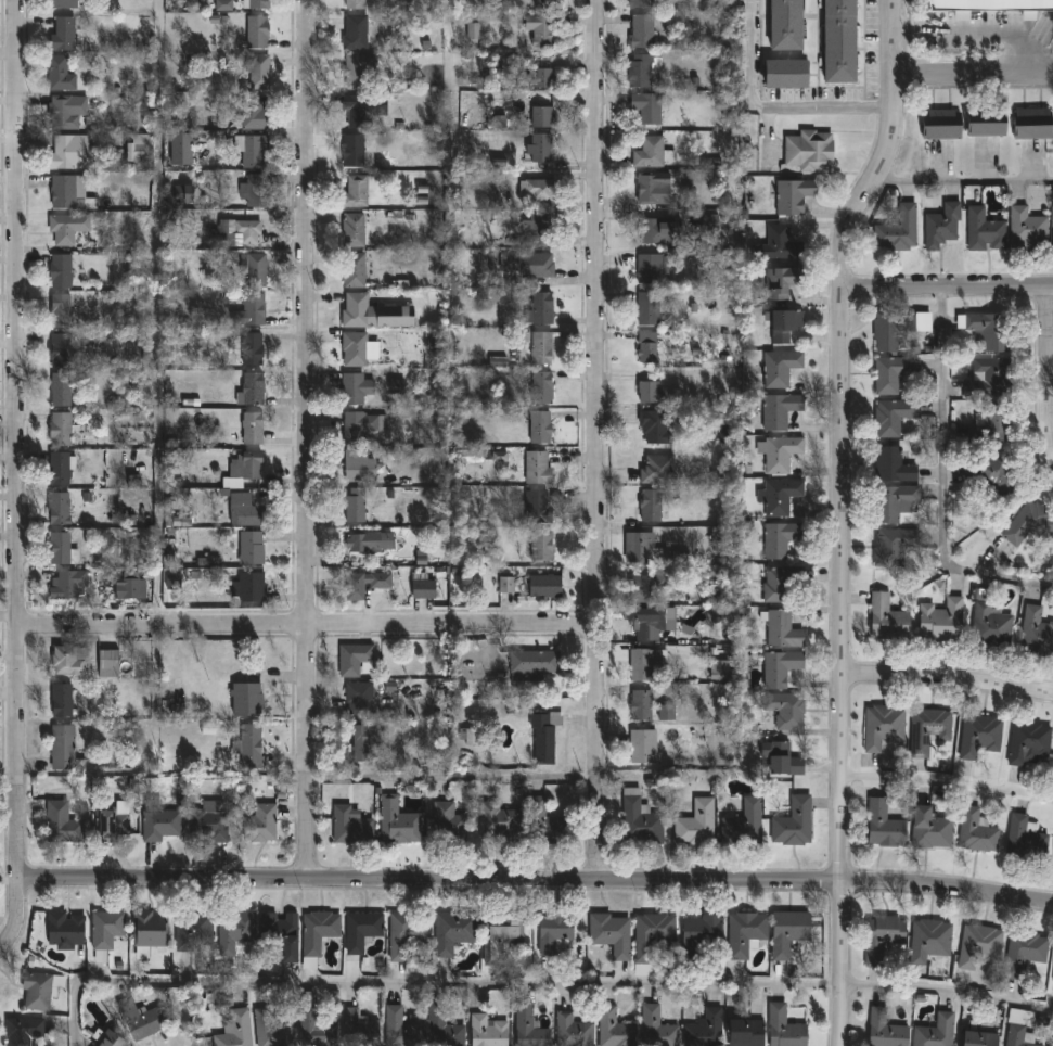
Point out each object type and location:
building: (406, 3)
building: (539, 3)
building: (67, 4)
building: (258, 4)
building: (358, 4)
building: (549, 4)
building: (642, 4)
building: (992, 4)
building: (223, 5)
building: (779, 25)
building: (543, 30)
building: (473, 31)
building: (644, 31)
building: (258, 33)
road: (980, 33)
building: (358, 34)
building: (66, 35)
building: (834, 42)
building: (641, 69)
building: (260, 72)
building: (360, 72)
building: (62, 74)
building: (544, 74)
building: (781, 76)
road: (973, 77)
road: (771, 102)
building: (646, 105)
building: (363, 110)
building: (66, 113)
building: (253, 113)
building: (545, 115)
building: (499, 122)
building: (981, 122)
building: (937, 123)
building: (1028, 123)
building: (141, 146)
building: (542, 148)
building: (254, 149)
building: (184, 150)
building: (356, 150)
building: (806, 150)
building: (74, 152)
building: (650, 152)
road: (963, 180)
building: (260, 188)
building: (541, 188)
building: (650, 188)
building: (360, 190)
building: (67, 191)
building: (183, 193)
building: (791, 194)
building: (710, 224)
building: (939, 225)
building: (69, 227)
building: (356, 229)
building: (538, 229)
building: (657, 229)
building: (981, 229)
building: (1025, 229)
building: (251, 230)
building: (896, 230)
building: (1052, 238)
building: (775, 244)
building: (531, 264)
building: (652, 267)
building: (258, 269)
building: (357, 269)
building: (62, 270)
building: (779, 280)
road: (947, 288)
building: (651, 307)
building: (255, 308)
building: (542, 308)
building: (63, 309)
building: (376, 312)
building: (781, 324)
building: (893, 328)
building: (987, 329)
building: (540, 345)
building: (651, 346)
building: (254, 348)
building: (361, 348)
building: (62, 349)
building: (778, 367)
building: (889, 372)
building: (986, 378)
road: (1046, 380)
building: (397, 387)
building: (543, 387)
building: (65, 388)
building: (255, 388)
building: (356, 388)
road: (1050, 388)
building: (645, 391)
building: (776, 409)
building: (890, 416)
building: (992, 421)
building: (255, 426)
building: (361, 426)
building: (542, 426)
building: (651, 426)
building: (63, 429)
road: (311, 438)
road: (592, 439)
building: (779, 452)
building: (472, 456)
building: (499, 456)
building: (890, 464)
building: (362, 465)
building: (540, 467)
building: (63, 468)
building: (246, 468)
building: (657, 470)
building: (989, 475)
road: (15, 476)
road: (941, 481)
building: (775, 495)
building: (891, 501)
building: (358, 505)
building: (647, 505)
building: (539, 506)
building: (61, 508)
building: (246, 510)
road: (842, 515)
building: (1028, 524)
building: (778, 538)
building: (373, 540)
building: (891, 546)
building: (247, 547)
building: (544, 547)
building: (645, 547)
building: (64, 549)
building: (664, 578)
building: (779, 582)
building: (69, 584)
building: (383, 585)
building: (506, 585)
building: (549, 586)
building: (251, 587)
building: (133, 588)
building: (426, 588)
building: (643, 589)
building: (884, 618)
building: (939, 621)
building: (987, 621)
building: (650, 622)
road: (309, 623)
building: (779, 628)
building: (1035, 629)
building: (356, 659)
building: (70, 660)
building: (113, 663)
building: (536, 664)
building: (649, 664)
building: (776, 667)
road: (949, 679)
building: (362, 698)
building: (249, 699)
building: (63, 700)
building: (643, 705)
building: (782, 711)
building: (666, 713)
building: (879, 726)
building: (925, 728)
building: (420, 732)
building: (547, 735)
building: (977, 736)
building: (472, 738)
building: (368, 740)
building: (1026, 742)
building: (252, 745)
building: (645, 747)
building: (66, 748)
building: (780, 761)
road: (457, 775)
road: (949, 780)
building: (643, 819)
building: (213, 821)
building: (400, 822)
building: (500, 822)
building: (742, 822)
building: (792, 822)
building: (64, 824)
building: (162, 824)
building: (262, 824)
building: (450, 824)
building: (547, 824)
building: (696, 824)
building: (113, 825)
building: (352, 826)
building: (881, 826)
building: (927, 829)
building: (974, 830)
building: (1024, 840)
building: (1052, 859)
road: (537, 881)
building: (67, 930)
building: (195, 930)
building: (364, 930)
building: (237, 931)
building: (321, 931)
building: (107, 932)
building: (152, 932)
building: (457, 932)
building: (557, 932)
building: (704, 932)
building: (788, 932)
building: (613, 933)
building: (748, 933)
building: (284, 935)
building: (409, 935)
building: (503, 936)
building: (879, 936)
building: (654, 940)
building: (927, 941)
building: (977, 945)
building: (1022, 953)
building: (1052, 978)
road: (427, 981)
road: (948, 988)
building: (42, 990)
building: (144, 1019)
building: (445, 1025)
building: (532, 1028)
building: (659, 1028)
building: (785, 1028)
building: (236, 1029)
building: (319, 1029)
building: (406, 1029)
building: (617, 1029)
building: (1017, 1029)
building: (273, 1030)
building: (362, 1030)
building: (707, 1030)
building: (883, 1030)
building: (25, 1031)
building: (491, 1031)
building: (575, 1031)
building: (933, 1031)
building: (750, 1033)
building: (974, 1036)
building: (106, 1038)

